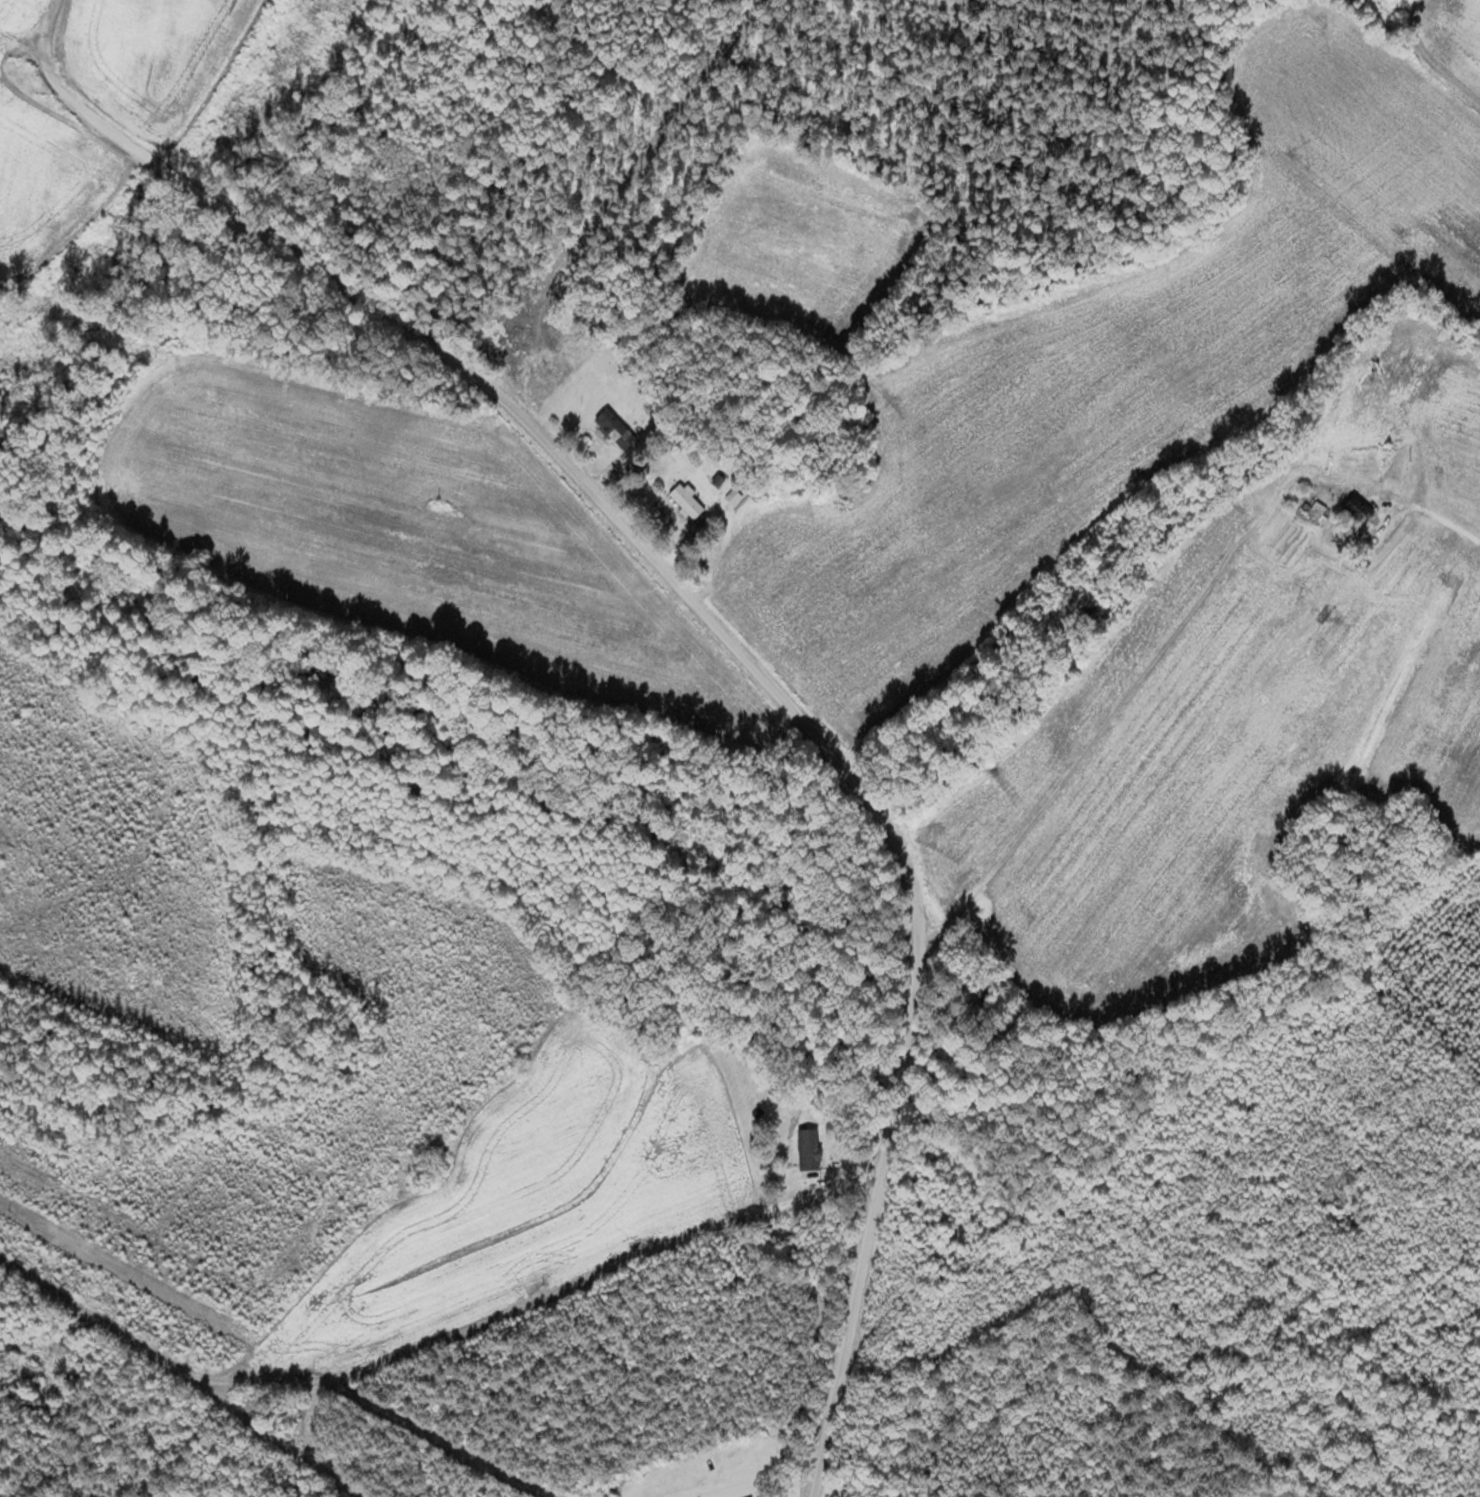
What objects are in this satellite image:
building: (617, 428)
building: (687, 501)
building: (1357, 505)
building: (1318, 511)
road: (1447, 518)
road: (713, 620)
road: (1156, 646)
building: (810, 1148)
road: (144, 1399)

